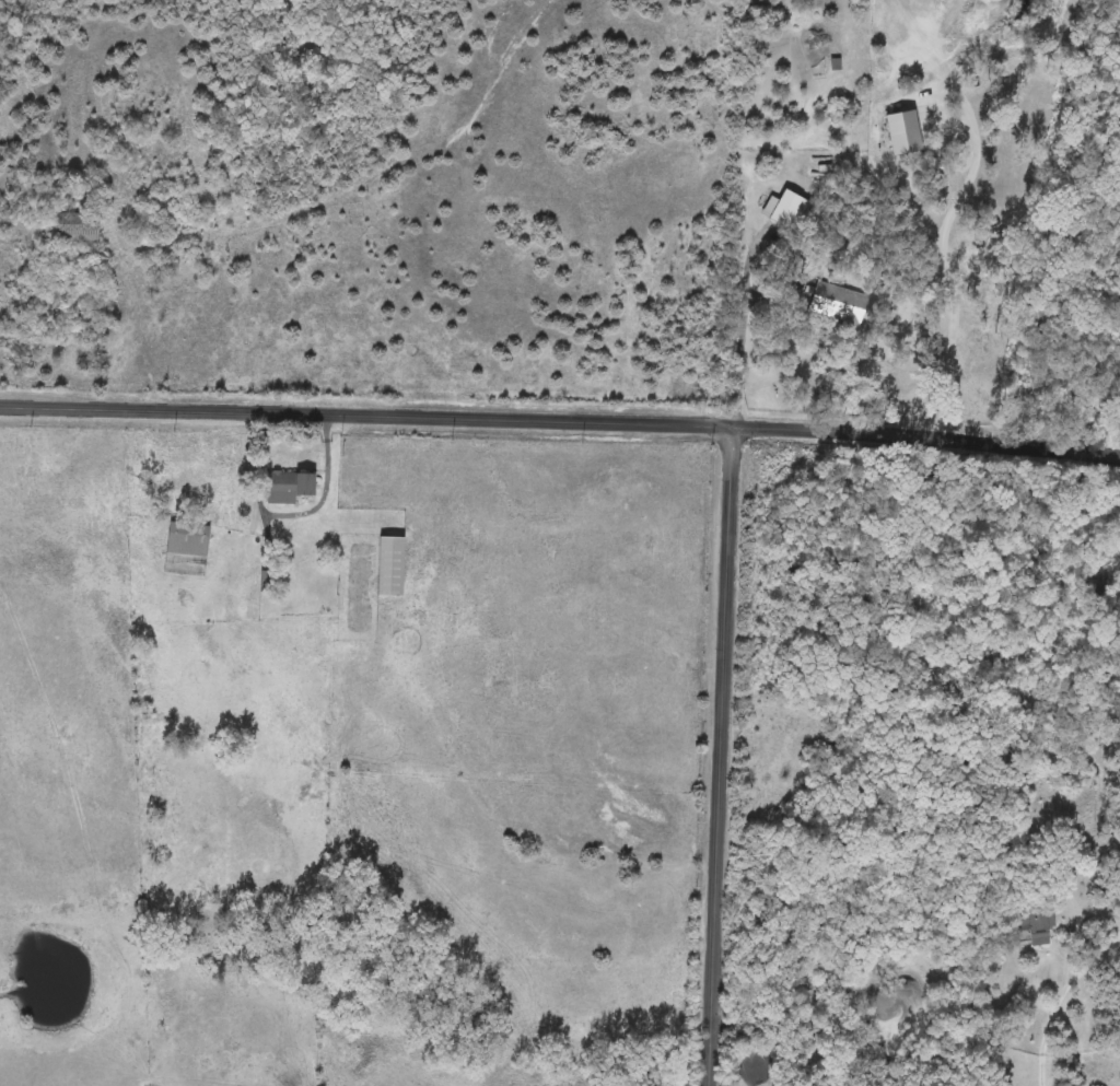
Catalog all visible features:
building: (827, 66)
building: (779, 209)
building: (78, 230)
road: (942, 259)
building: (840, 303)
road: (737, 352)
road: (393, 367)
road: (560, 418)
building: (291, 488)
building: (190, 540)
building: (394, 568)
building: (270, 582)
road: (717, 755)
building: (1039, 927)
road: (1061, 970)

